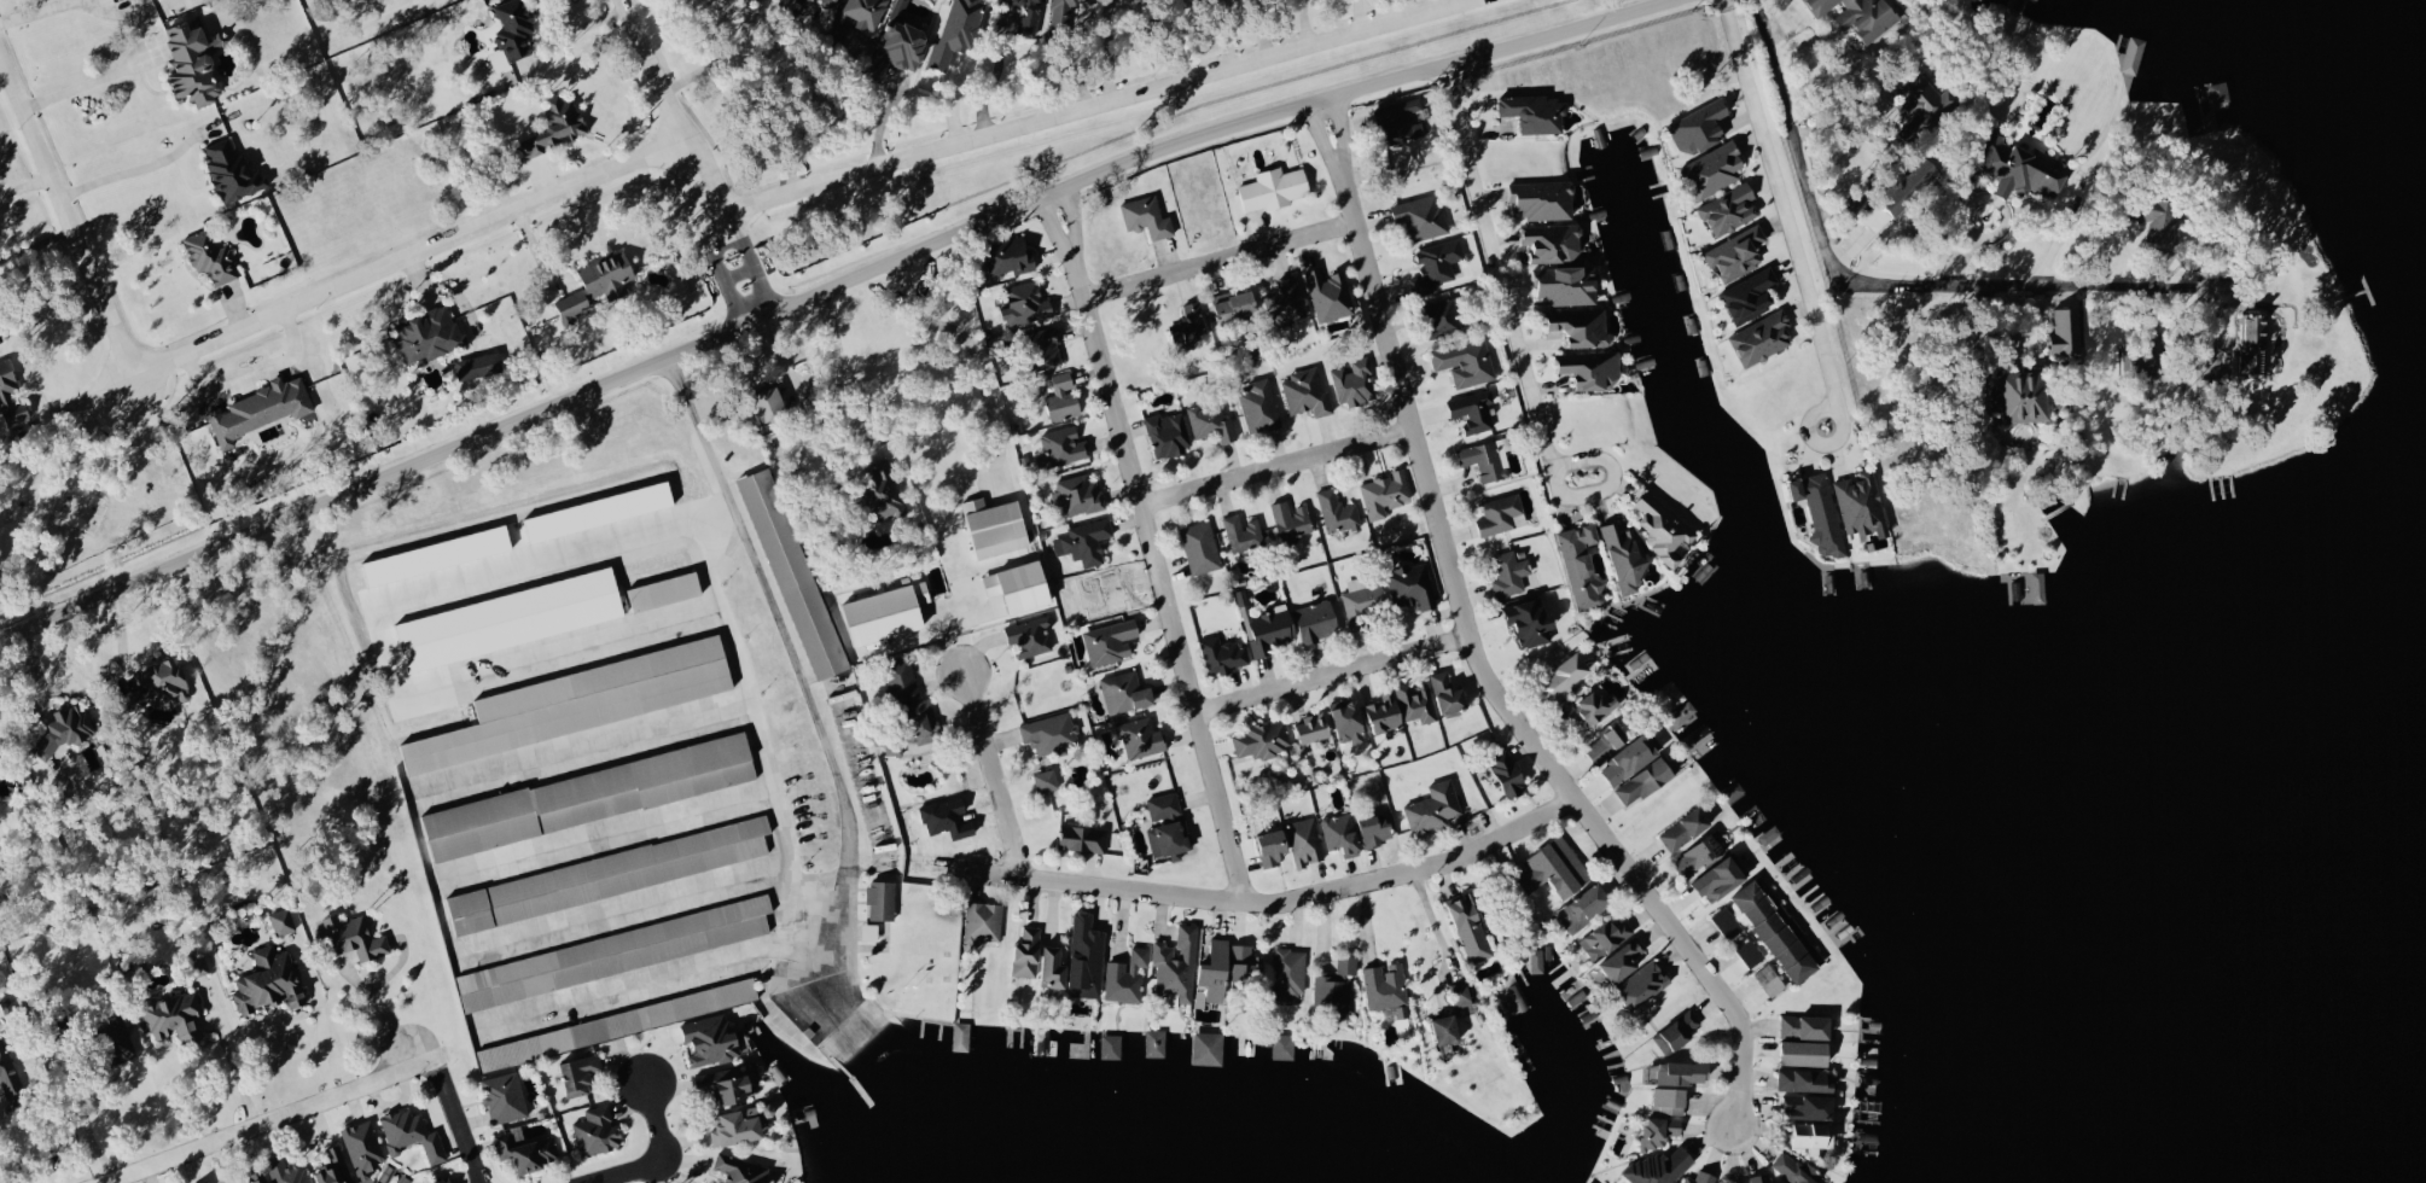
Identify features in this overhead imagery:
building: (136, 0)
building: (831, 2)
building: (793, 6)
building: (1064, 6)
road: (36, 10)
building: (1028, 14)
building: (1861, 16)
building: (859, 17)
road: (1259, 28)
building: (516, 29)
building: (958, 31)
road: (570, 35)
building: (898, 45)
road: (1105, 49)
building: (2135, 51)
road: (719, 53)
building: (500, 60)
building: (194, 63)
road: (88, 81)
building: (1922, 98)
road: (752, 99)
road: (1089, 105)
building: (1536, 112)
building: (1402, 121)
building: (555, 127)
building: (1700, 127)
road: (693, 156)
building: (2023, 168)
building: (1715, 169)
road: (127, 171)
building: (233, 171)
road: (29, 183)
building: (1912, 183)
building: (1274, 188)
building: (1543, 199)
building: (1732, 210)
road: (1794, 211)
building: (1147, 217)
building: (1423, 217)
building: (2157, 218)
road: (2060, 234)
building: (1553, 243)
road: (1829, 252)
building: (1738, 253)
building: (1010, 256)
building: (210, 257)
road: (1218, 258)
building: (1437, 266)
building: (607, 275)
road: (1512, 276)
road: (2084, 284)
road: (2160, 284)
building: (1569, 285)
road: (820, 287)
building: (1330, 293)
building: (1751, 296)
building: (1286, 302)
building: (574, 303)
building: (1026, 304)
building: (1237, 305)
building: (1445, 317)
building: (1195, 322)
building: (1582, 326)
building: (2067, 332)
building: (430, 334)
road: (2009, 334)
building: (1763, 338)
road: (252, 340)
building: (0, 342)
building: (2253, 343)
road: (983, 348)
building: (1047, 348)
building: (1467, 362)
building: (479, 366)
road: (834, 368)
building: (1592, 368)
building: (1352, 381)
building: (1307, 392)
building: (1997, 396)
building: (2028, 397)
building: (1064, 398)
road: (83, 402)
building: (770, 404)
building: (1261, 407)
building: (260, 409)
building: (1474, 412)
building: (1212, 422)
building: (1168, 435)
building: (1064, 445)
road: (1421, 459)
building: (1485, 461)
road: (1276, 465)
building: (883, 490)
building: (1080, 494)
building: (1385, 494)
building: (1862, 503)
building: (1338, 513)
building: (1821, 513)
building: (1500, 514)
building: (1292, 519)
building: (996, 528)
building: (1664, 529)
building: (1243, 532)
building: (1086, 542)
road: (1151, 543)
building: (1200, 548)
building: (1627, 559)
building: (1583, 565)
building: (793, 573)
building: (1511, 573)
building: (1020, 587)
building: (1412, 587)
building: (664, 591)
building: (1243, 598)
building: (1362, 602)
building: (1319, 620)
building: (1531, 623)
building: (885, 624)
building: (1272, 630)
building: (1030, 637)
building: (1111, 642)
building: (1223, 654)
road: (787, 660)
road: (1334, 671)
building: (1566, 677)
building: (903, 680)
building: (164, 683)
building: (1125, 693)
building: (1449, 693)
building: (584, 701)
building: (1416, 701)
building: (1593, 707)
building: (1386, 713)
building: (924, 721)
building: (1350, 722)
building: (1314, 728)
building: (66, 730)
building: (1051, 733)
building: (1141, 739)
building: (1264, 740)
building: (894, 747)
building: (1623, 750)
road: (997, 773)
building: (1509, 774)
building: (1047, 781)
building: (1646, 782)
building: (590, 794)
building: (1164, 805)
building: (1435, 806)
building: (1375, 828)
building: (1686, 828)
building: (1342, 833)
building: (1770, 834)
building: (1084, 838)
building: (1170, 838)
building: (1305, 841)
building: (1273, 845)
building: (1699, 855)
building: (1557, 868)
building: (610, 874)
building: (1722, 878)
building: (882, 898)
road: (1278, 902)
building: (1586, 907)
building: (283, 921)
building: (984, 921)
road: (1435, 922)
building: (1727, 922)
building: (1471, 927)
building: (871, 931)
building: (1780, 931)
building: (354, 937)
building: (1606, 937)
road: (1692, 945)
building: (1028, 950)
building: (1749, 951)
building: (615, 952)
building: (1087, 956)
building: (1624, 960)
building: (1245, 962)
building: (200, 965)
building: (1177, 965)
road: (394, 966)
building: (1055, 969)
building: (1217, 969)
building: (1290, 973)
building: (1127, 975)
building: (1770, 979)
building: (269, 981)
building: (1646, 981)
building: (1337, 984)
building: (1387, 987)
building: (1461, 992)
road: (382, 1009)
building: (174, 1014)
road: (318, 1014)
building: (618, 1024)
building: (1807, 1025)
building: (1448, 1028)
building: (1677, 1031)
building: (118, 1039)
building: (711, 1039)
building: (1112, 1045)
building: (1211, 1045)
building: (1284, 1045)
building: (1808, 1051)
building: (1680, 1072)
building: (8, 1073)
road: (235, 1073)
building: (581, 1073)
building: (1807, 1079)
building: (726, 1084)
building: (505, 1096)
building: (1671, 1098)
building: (1810, 1106)
road: (268, 1119)
road: (460, 1121)
building: (737, 1125)
road: (83, 1127)
building: (598, 1131)
building: (1662, 1131)
building: (413, 1134)
building: (363, 1147)
building: (528, 1148)
road: (13, 1154)
road: (662, 1156)
building: (1662, 1166)
building: (336, 1169)
building: (741, 1169)
building: (1798, 1170)
building: (287, 1171)
building: (1703, 1177)
building: (1762, 1178)
building: (442, 1181)
building: (205, 1182)
building: (1590, 1182)
building: (1781, 1182)

